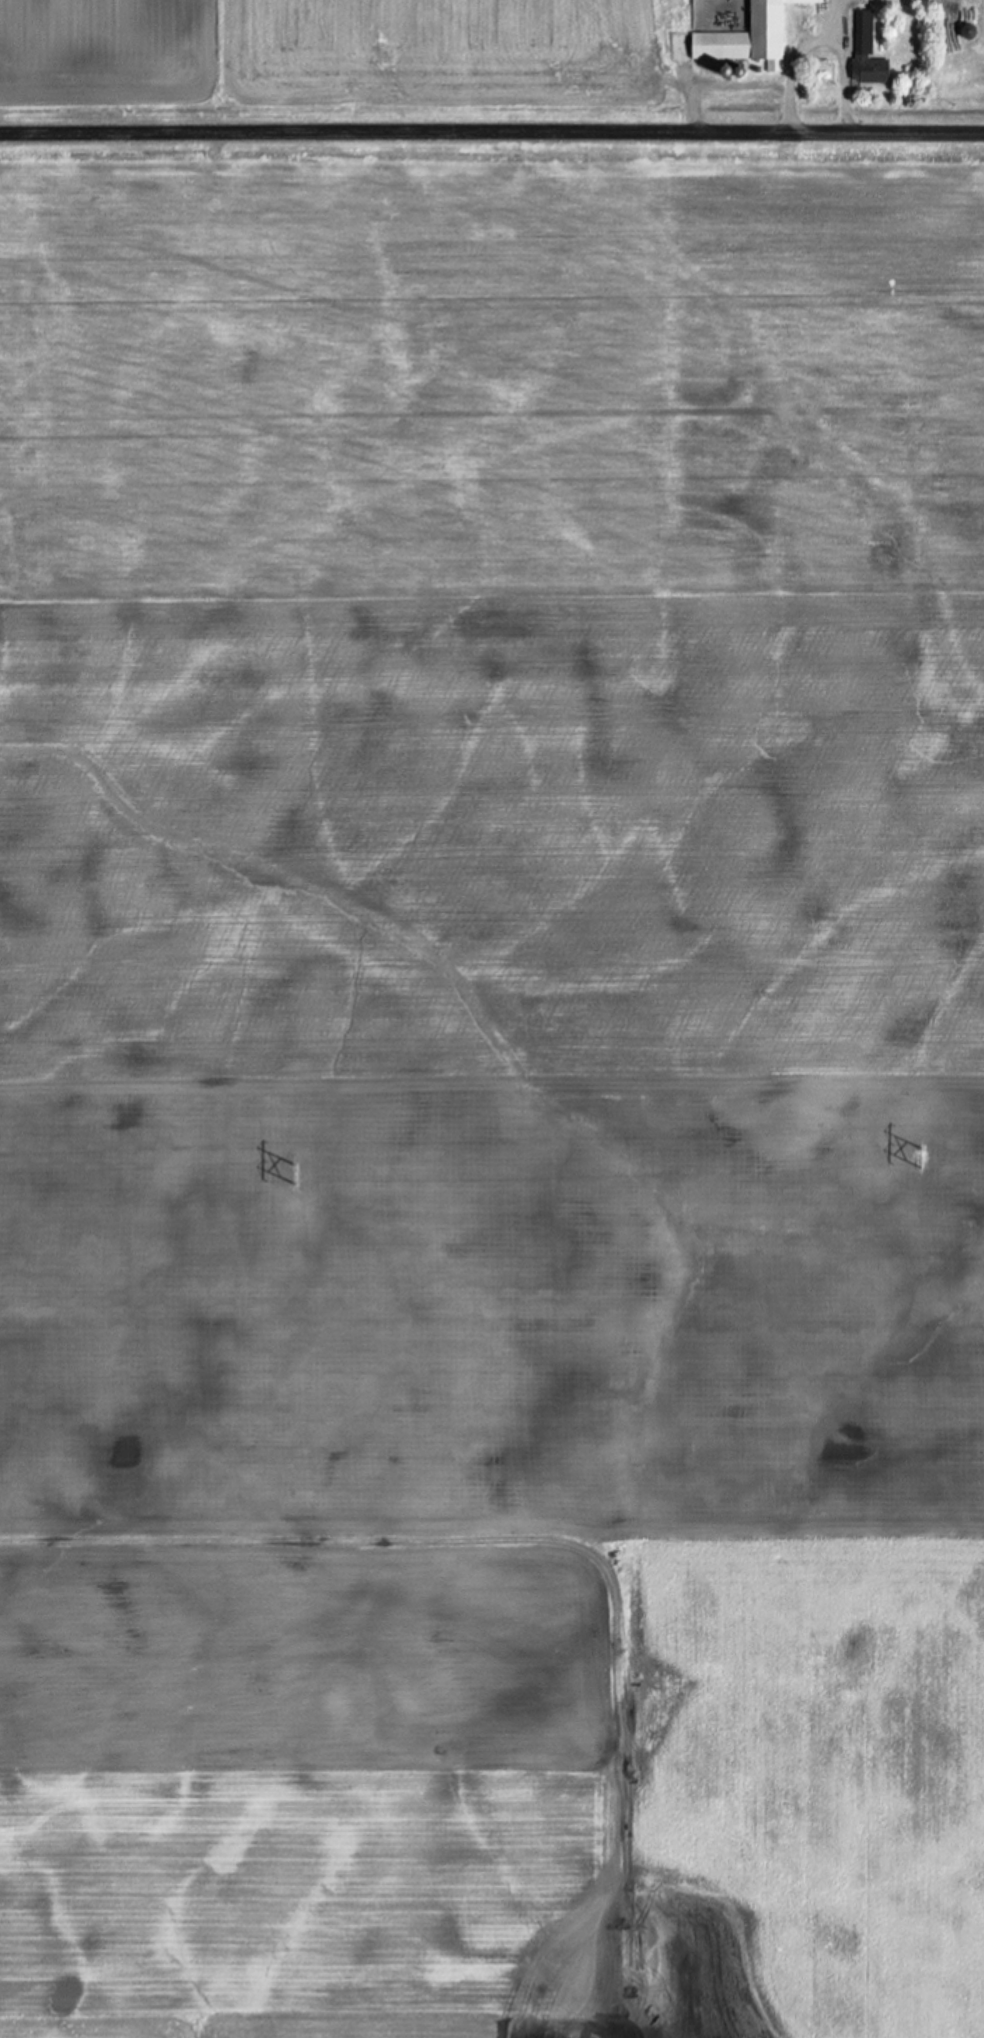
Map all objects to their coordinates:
road: (824, 35)
building: (740, 38)
building: (866, 52)
road: (491, 131)
power tower: (922, 1157)
power tower: (294, 1173)

